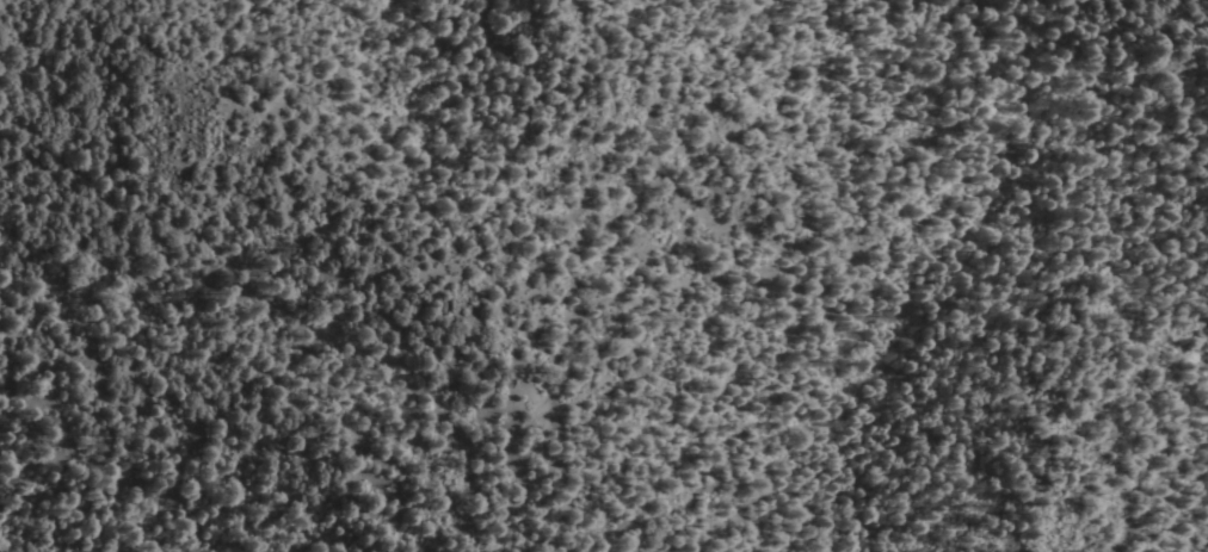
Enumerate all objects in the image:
road: (1036, 92)

